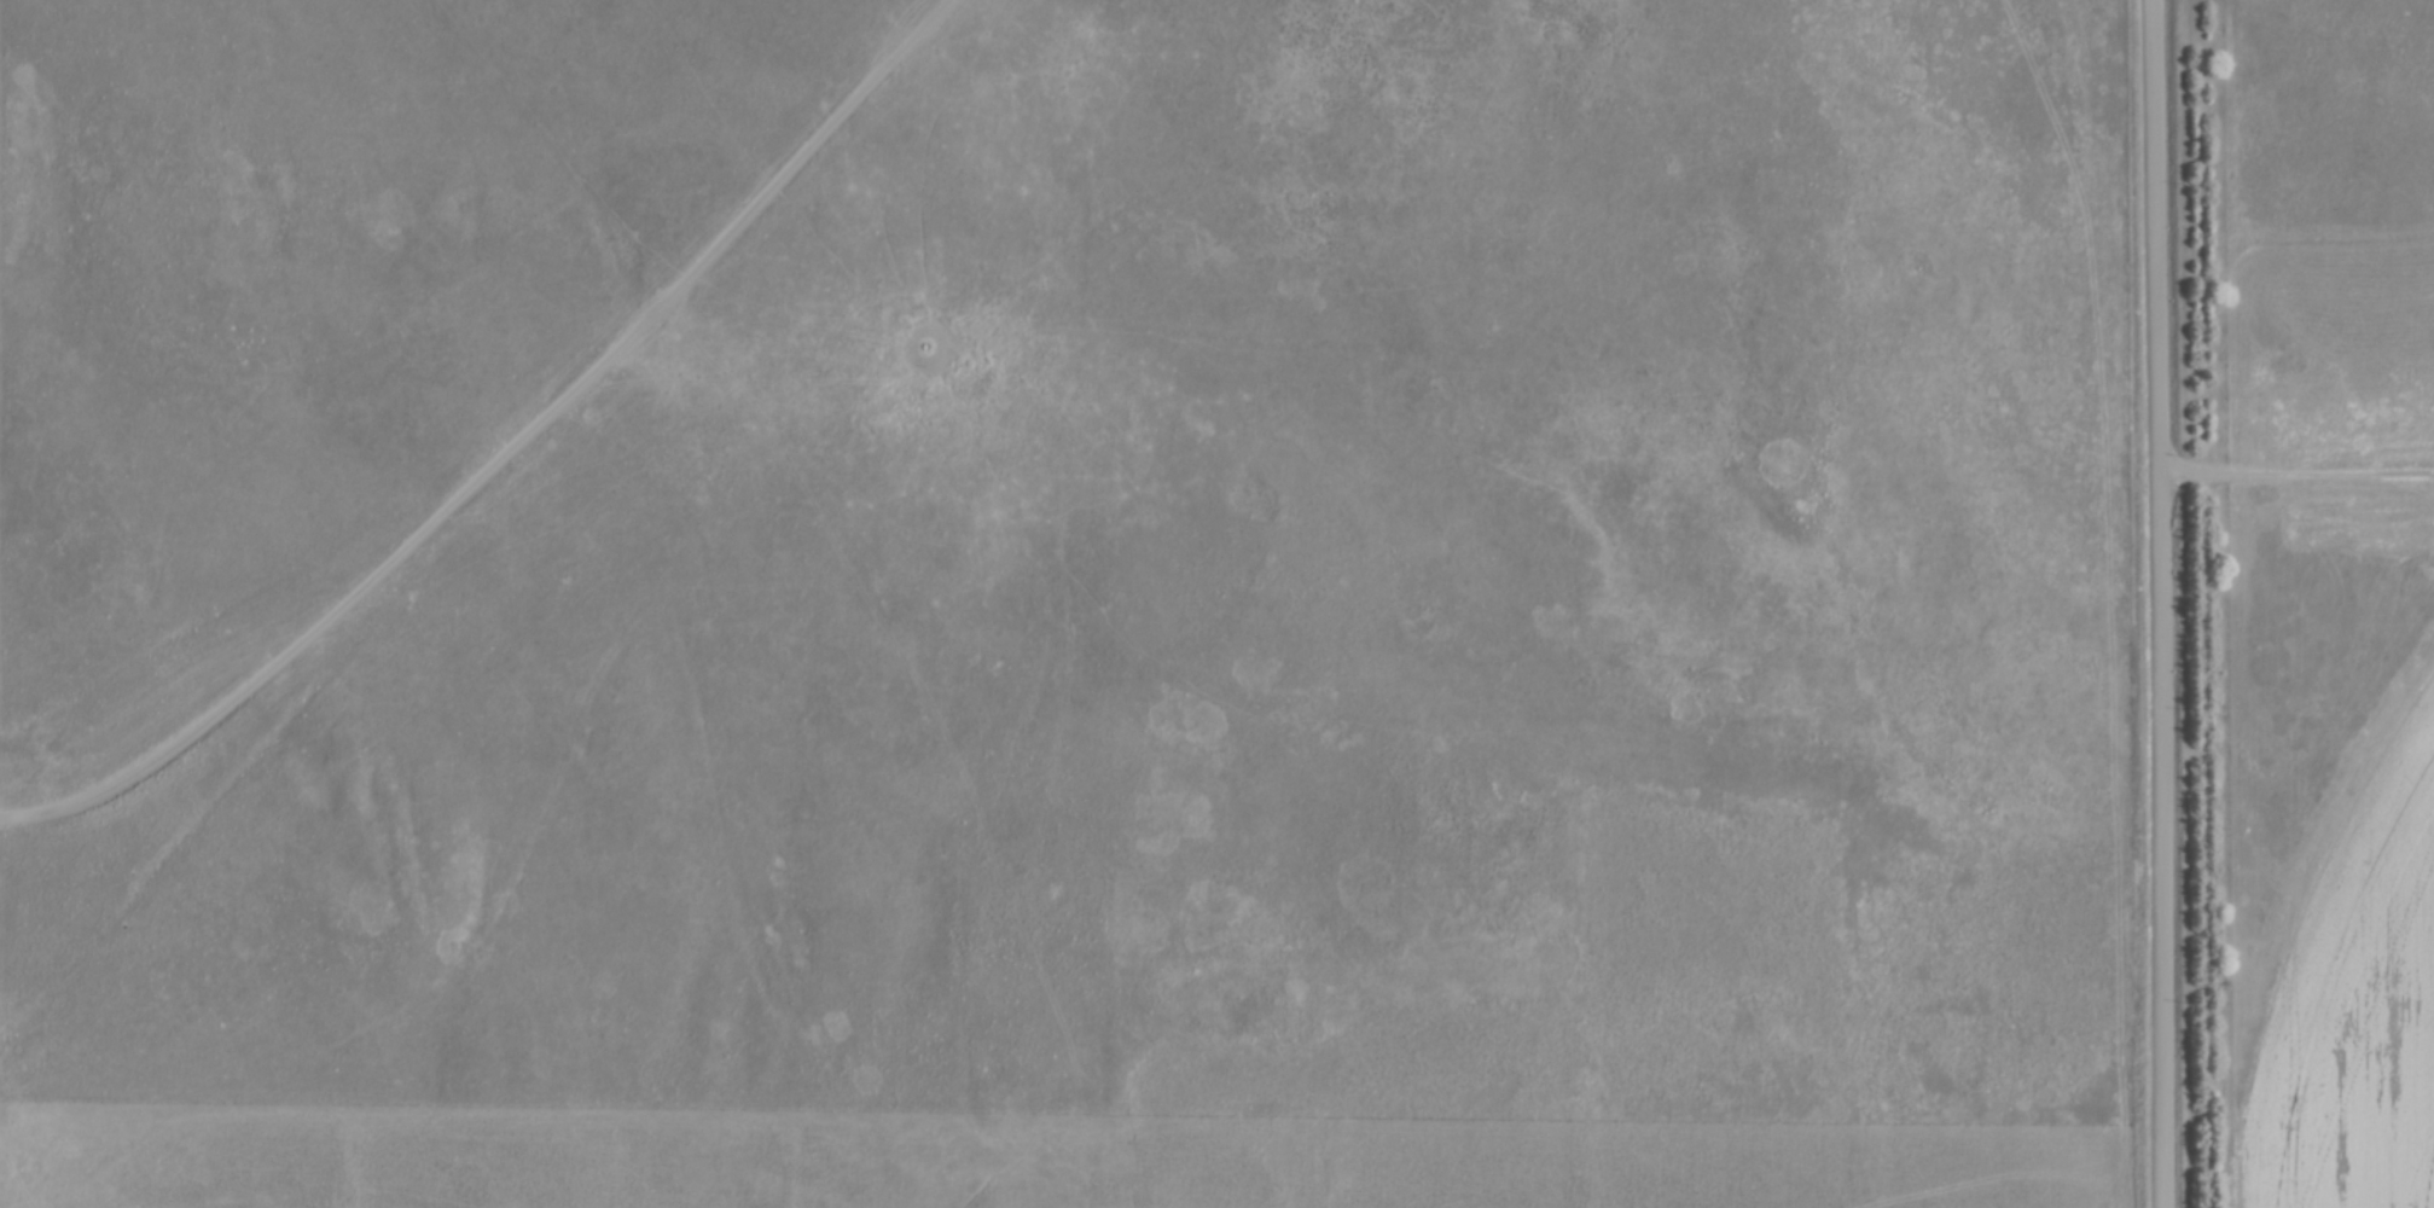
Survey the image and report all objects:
road: (499, 449)
road: (2153, 603)
crop: (2358, 1015)

